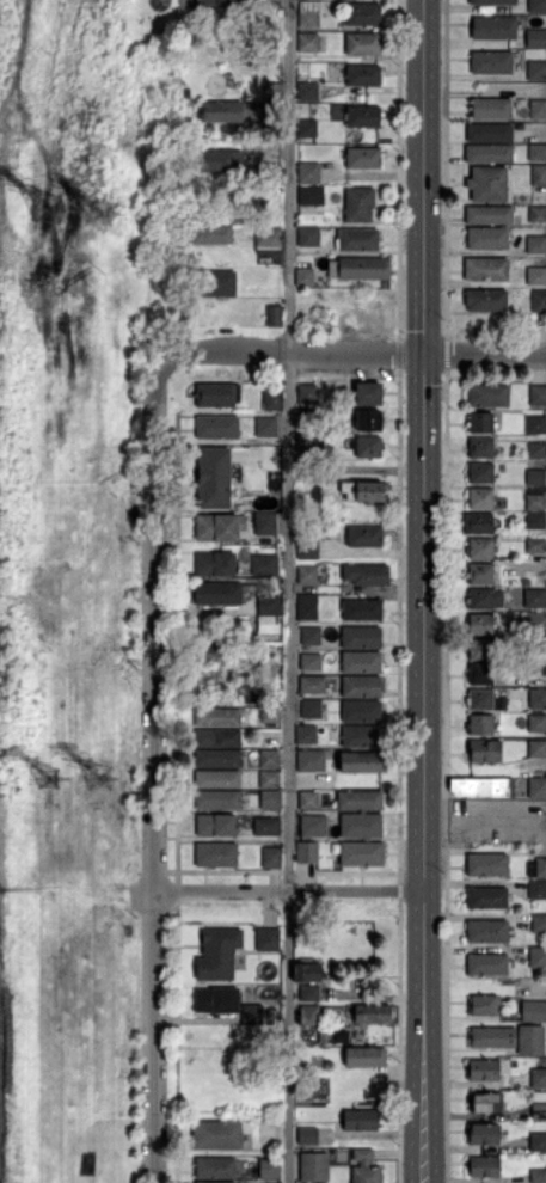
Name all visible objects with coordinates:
building: (217, 2)
building: (492, 2)
building: (538, 6)
building: (307, 14)
building: (362, 14)
building: (493, 29)
building: (536, 38)
building: (308, 43)
building: (362, 44)
road: (8, 59)
building: (491, 63)
building: (538, 71)
building: (362, 75)
building: (307, 91)
building: (270, 99)
building: (490, 109)
building: (538, 110)
building: (221, 112)
building: (363, 117)
building: (307, 128)
building: (272, 134)
building: (490, 134)
building: (538, 153)
building: (489, 154)
building: (363, 158)
building: (221, 160)
building: (308, 173)
building: (270, 174)
building: (539, 177)
building: (487, 184)
building: (309, 196)
building: (358, 204)
power tower: (54, 206)
building: (489, 215)
building: (538, 215)
power tower: (103, 216)
building: (210, 234)
building: (269, 235)
building: (308, 237)
building: (487, 239)
building: (356, 240)
building: (536, 245)
building: (366, 269)
building: (486, 269)
building: (303, 275)
building: (536, 277)
building: (215, 283)
building: (485, 300)
building: (539, 302)
building: (274, 315)
building: (302, 337)
road: (288, 354)
road: (486, 354)
building: (307, 393)
building: (216, 394)
building: (368, 394)
building: (487, 396)
building: (538, 396)
building: (272, 399)
building: (307, 418)
building: (367, 422)
building: (480, 422)
building: (535, 424)
building: (216, 427)
building: (265, 427)
building: (306, 442)
building: (366, 447)
building: (480, 447)
building: (535, 450)
building: (209, 456)
building: (265, 456)
building: (305, 472)
building: (479, 473)
building: (535, 477)
building: (362, 490)
building: (480, 498)
building: (535, 502)
building: (535, 520)
building: (264, 522)
building: (478, 523)
building: (216, 527)
building: (364, 535)
building: (535, 545)
building: (311, 547)
building: (480, 548)
building: (214, 564)
building: (264, 565)
building: (306, 574)
building: (480, 574)
building: (366, 575)
road: (288, 590)
road: (427, 590)
building: (219, 594)
building: (484, 599)
building: (534, 599)
building: (269, 601)
building: (307, 606)
building: (362, 609)
building: (269, 621)
building: (536, 623)
building: (480, 624)
building: (311, 636)
building: (360, 638)
building: (535, 645)
building: (479, 649)
building: (208, 651)
building: (311, 662)
building: (361, 662)
building: (538, 668)
building: (481, 674)
building: (311, 685)
building: (360, 686)
building: (538, 698)
building: (484, 700)
building: (275, 701)
building: (311, 709)
building: (360, 712)
building: (270, 716)
building: (217, 717)
building: (538, 723)
building: (479, 724)
building: (306, 734)
building: (360, 736)
building: (217, 738)
building: (538, 748)
building: (484, 750)
building: (217, 759)
building: (269, 759)
building: (311, 761)
building: (363, 761)
power tower: (102, 773)
road: (153, 774)
power tower: (56, 777)
building: (217, 779)
building: (269, 779)
building: (481, 786)
building: (536, 787)
building: (270, 799)
building: (308, 799)
building: (217, 801)
building: (360, 801)
building: (215, 825)
building: (361, 825)
building: (313, 826)
building: (266, 827)
building: (307, 852)
building: (361, 853)
building: (216, 854)
building: (271, 857)
building: (487, 865)
building: (540, 868)
building: (538, 889)
road: (290, 891)
building: (486, 897)
building: (539, 924)
building: (486, 931)
building: (271, 940)
building: (222, 954)
building: (538, 957)
building: (486, 964)
building: (307, 973)
building: (308, 993)
building: (216, 1000)
building: (483, 1005)
building: (533, 1010)
building: (254, 1012)
building: (373, 1015)
building: (308, 1016)
building: (486, 1037)
building: (529, 1040)
building: (364, 1056)
building: (483, 1069)
building: (538, 1078)
building: (484, 1102)
building: (539, 1105)
building: (360, 1120)
building: (269, 1132)
building: (481, 1134)
building: (216, 1135)
building: (307, 1135)
building: (539, 1142)
building: (313, 1165)
building: (483, 1166)
building: (215, 1167)
building: (364, 1167)
building: (240, 1169)
building: (270, 1170)
building: (538, 1176)
building: (215, 1181)

